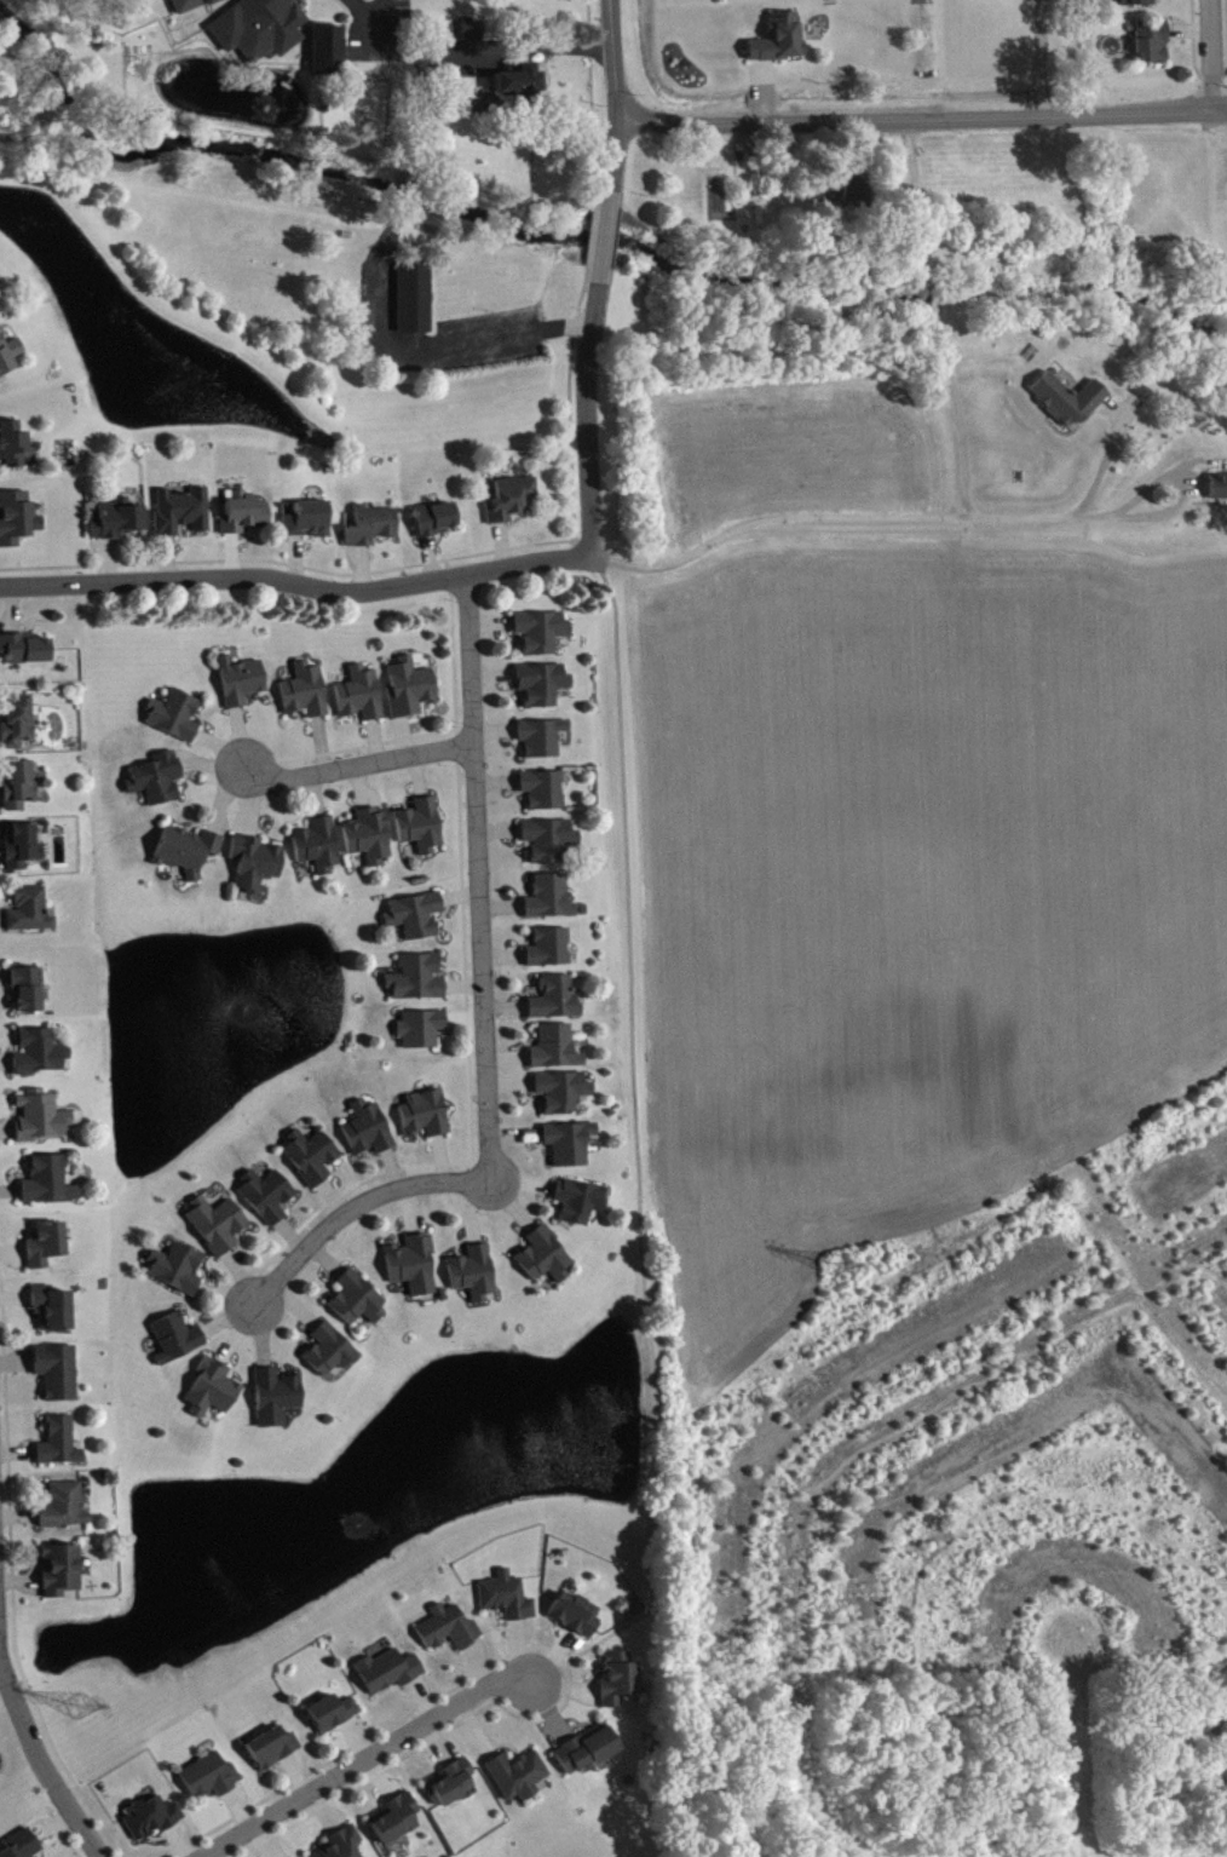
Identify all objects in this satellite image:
building: (194, 7)
road: (368, 11)
building: (260, 33)
building: (473, 38)
building: (779, 45)
road: (476, 47)
building: (1150, 48)
road: (1211, 54)
building: (328, 57)
road: (1036, 57)
road: (611, 59)
building: (520, 90)
road: (414, 108)
road: (921, 117)
road: (615, 154)
road: (402, 185)
building: (841, 197)
road: (606, 235)
building: (415, 305)
road: (422, 344)
building: (10, 360)
building: (1067, 406)
building: (12, 452)
building: (1217, 494)
building: (512, 506)
building: (182, 518)
building: (243, 519)
building: (15, 524)
building: (436, 525)
building: (117, 527)
building: (307, 527)
road: (882, 527)
building: (371, 533)
road: (433, 579)
building: (541, 638)
building: (24, 656)
building: (241, 688)
building: (542, 691)
building: (410, 695)
building: (305, 698)
building: (361, 701)
building: (174, 721)
building: (17, 725)
building: (542, 744)
road: (355, 765)
building: (157, 786)
building: (18, 790)
building: (543, 797)
building: (421, 833)
building: (369, 843)
building: (549, 846)
building: (318, 852)
building: (22, 853)
building: (186, 857)
building: (255, 869)
building: (549, 904)
building: (30, 918)
building: (415, 922)
building: (549, 954)
building: (417, 984)
building: (27, 996)
fountain: (243, 1005)
building: (555, 1006)
road: (482, 1017)
building: (421, 1035)
building: (555, 1054)
building: (40, 1059)
road: (633, 1080)
building: (561, 1098)
building: (425, 1121)
building: (40, 1123)
building: (367, 1136)
building: (569, 1150)
building: (311, 1162)
building: (48, 1188)
building: (266, 1202)
building: (578, 1208)
building: (217, 1231)
building: (46, 1252)
road: (1108, 1255)
building: (543, 1263)
power tower: (831, 1265)
building: (413, 1271)
building: (175, 1275)
building: (473, 1280)
building: (356, 1306)
building: (52, 1315)
building: (175, 1345)
building: (329, 1357)
building: (57, 1379)
building: (212, 1396)
building: (276, 1403)
road: (912, 1415)
building: (59, 1449)
building: (64, 1513)
building: (61, 1577)
building: (506, 1604)
building: (575, 1621)
building: (448, 1635)
road: (592, 1644)
road: (0, 1656)
building: (390, 1678)
building: (617, 1685)
power tower: (75, 1712)
building: (332, 1720)
building: (272, 1755)
building: (586, 1757)
road: (364, 1758)
road: (42, 1764)
building: (518, 1782)
building: (209, 1783)
building: (450, 1790)
building: (152, 1824)
building: (396, 1826)
building: (344, 1846)
building: (22, 1849)

